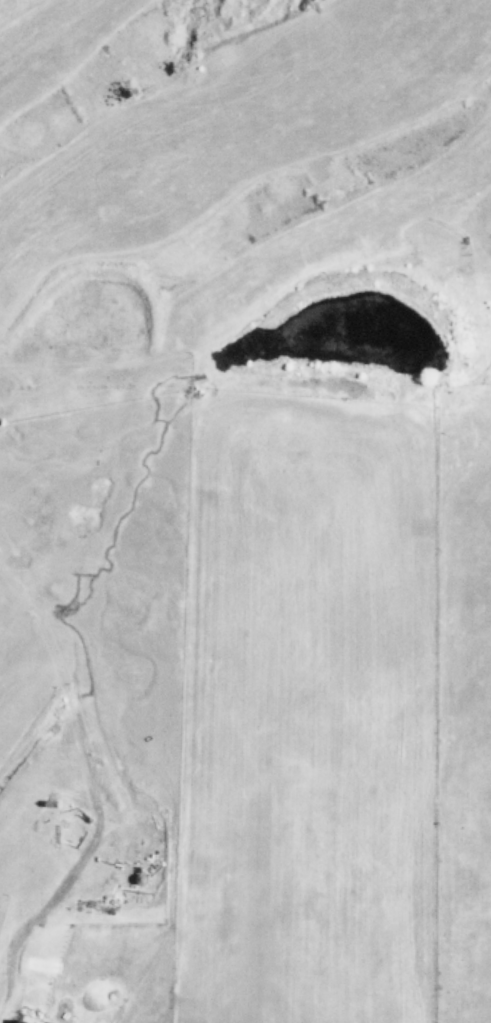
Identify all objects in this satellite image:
building: (24, 1020)

